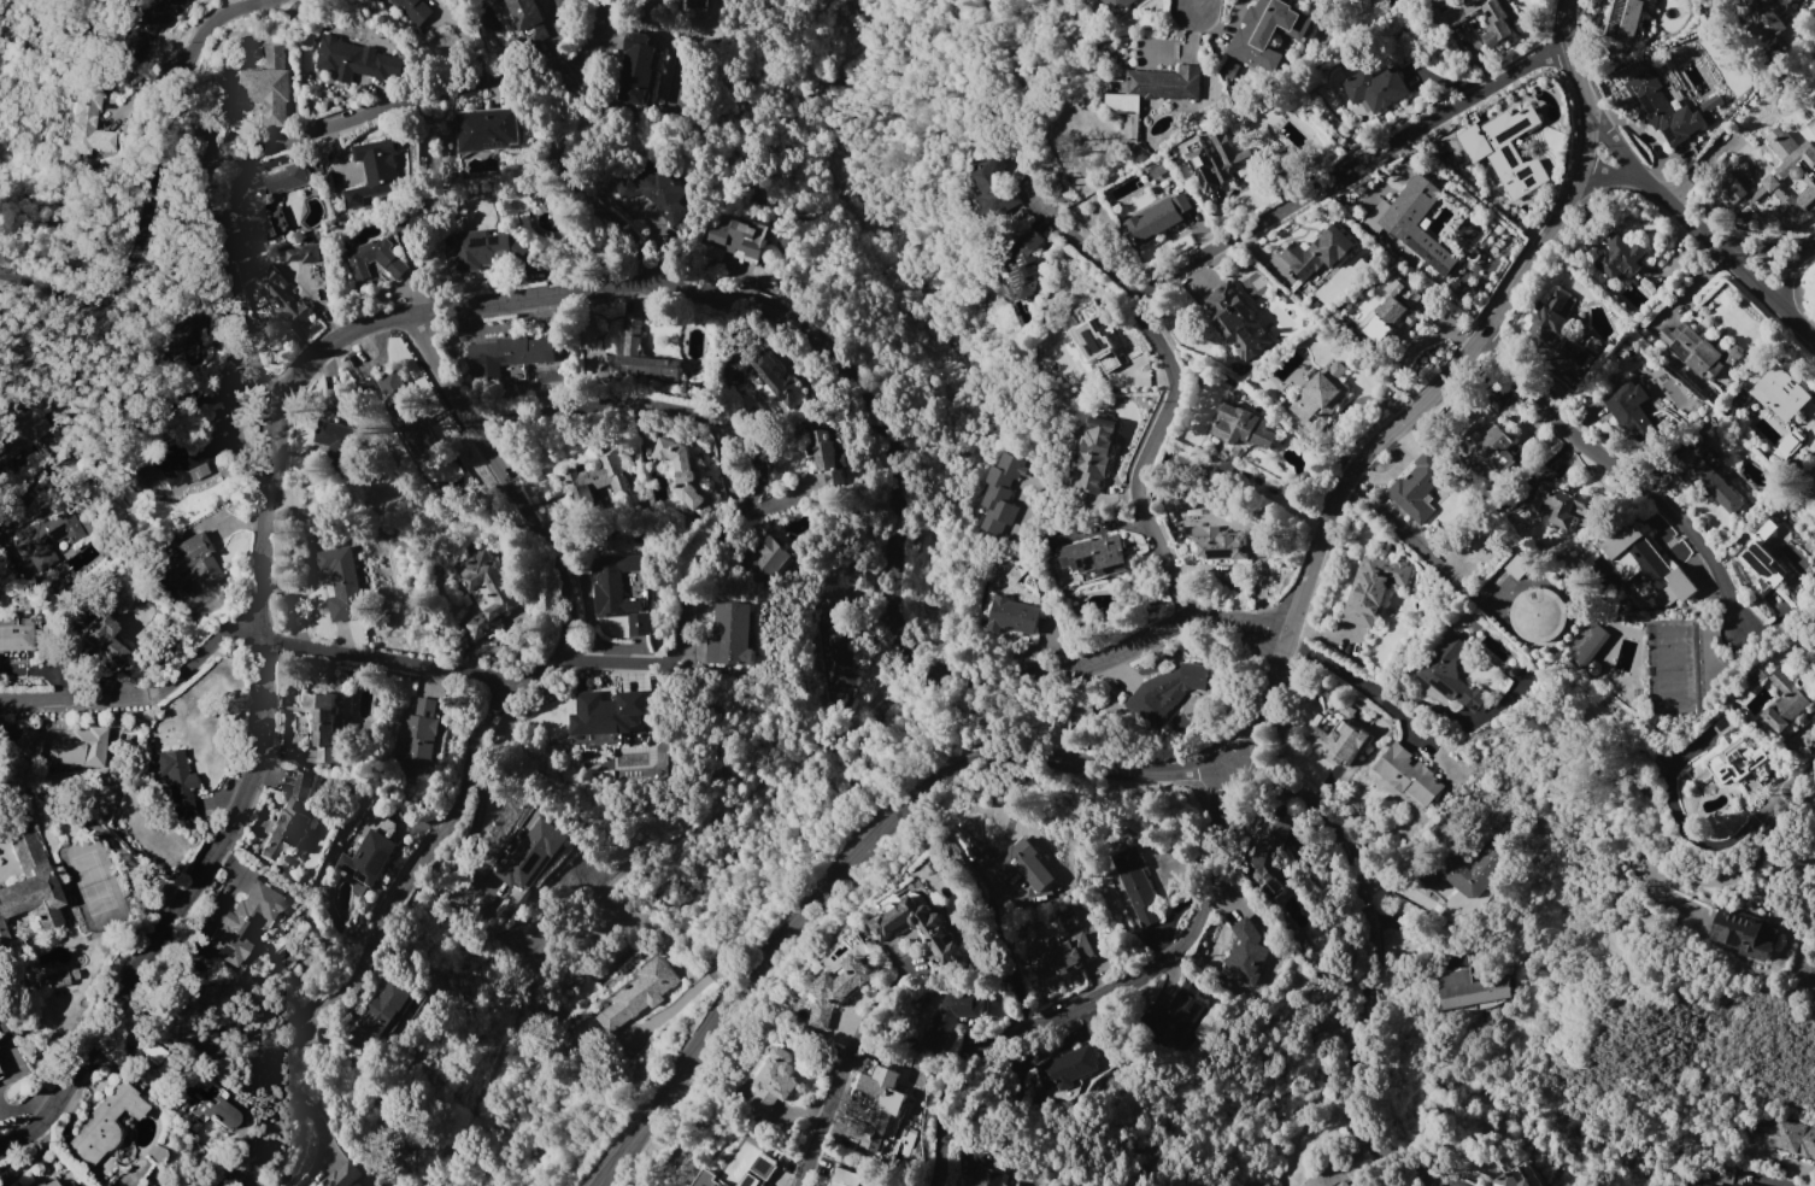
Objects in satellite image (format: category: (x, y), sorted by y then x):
building: (1115, 5)
road: (1185, 5)
building: (689, 6)
building: (410, 11)
building: (522, 12)
building: (1647, 13)
building: (1621, 19)
building: (1496, 23)
building: (146, 24)
building: (1770, 24)
building: (1264, 31)
building: (354, 60)
building: (634, 70)
building: (1382, 84)
building: (265, 87)
building: (1153, 88)
building: (674, 100)
road: (380, 106)
building: (1661, 108)
building: (1705, 108)
building: (84, 125)
building: (484, 129)
building: (1504, 151)
building: (1212, 159)
road: (558, 160)
building: (1796, 166)
building: (375, 169)
road: (1608, 172)
road: (192, 174)
building: (989, 189)
building: (653, 193)
building: (245, 202)
building: (1409, 218)
building: (1153, 222)
road: (1697, 235)
building: (733, 239)
road: (1763, 243)
road: (123, 248)
building: (487, 249)
road: (1086, 252)
building: (302, 253)
building: (1314, 256)
road: (1200, 258)
building: (1617, 258)
building: (374, 259)
building: (1023, 264)
road: (1792, 271)
building: (282, 295)
park: (1807, 295)
building: (1380, 311)
building: (1546, 317)
building: (1238, 322)
building: (180, 334)
building: (630, 339)
building: (1085, 342)
building: (1572, 353)
building: (507, 354)
building: (1697, 358)
building: (765, 369)
building: (1320, 393)
building: (1779, 393)
road: (188, 395)
building: (1628, 409)
building: (401, 413)
road: (858, 413)
building: (1243, 428)
building: (20, 430)
building: (334, 439)
building: (1492, 448)
building: (1087, 452)
building: (1106, 453)
building: (188, 456)
building: (826, 457)
building: (682, 472)
road: (1626, 476)
building: (597, 478)
road: (503, 481)
building: (1710, 486)
building: (1415, 488)
building: (999, 494)
building: (1556, 506)
road: (1404, 538)
building: (46, 539)
building: (1217, 544)
building: (1093, 556)
building: (192, 559)
building: (765, 559)
building: (1646, 565)
building: (1761, 569)
building: (612, 585)
building: (341, 586)
building: (1371, 588)
building: (484, 593)
road: (1045, 593)
road: (683, 604)
building: (1535, 615)
building: (1011, 616)
building: (636, 626)
building: (17, 632)
building: (727, 635)
building: (104, 638)
building: (1587, 644)
building: (834, 653)
road: (1328, 663)
building: (1450, 675)
building: (1754, 676)
building: (1164, 691)
road: (140, 693)
building: (1785, 701)
building: (607, 714)
building: (322, 724)
building: (1338, 736)
building: (416, 740)
road: (1234, 744)
building: (66, 745)
building: (1735, 761)
building: (1409, 776)
building: (177, 780)
road: (1788, 783)
road: (235, 812)
building: (289, 818)
road: (1691, 840)
building: (1262, 847)
building: (528, 855)
building: (368, 858)
road: (428, 864)
building: (1020, 864)
building: (1470, 871)
building: (29, 877)
road: (1705, 881)
building: (1135, 885)
building: (1067, 920)
building: (243, 922)
building: (883, 930)
building: (1743, 933)
building: (1244, 955)
building: (1063, 956)
road: (1373, 962)
building: (59, 981)
building: (836, 990)
building: (1468, 990)
building: (635, 996)
road: (1100, 996)
road: (870, 1003)
building: (384, 1009)
building: (1179, 1015)
building: (948, 1017)
building: (154, 1057)
building: (1064, 1068)
building: (773, 1080)
road: (278, 1091)
building: (208, 1100)
building: (875, 1106)
road: (823, 1119)
building: (104, 1125)
building: (1782, 1138)
building: (757, 1173)
building: (343, 1175)
building: (1515, 1176)
building: (844, 1178)
building: (987, 1178)
building: (707, 1179)
building: (49, 1182)
building: (1343, 1184)
building: (1688, 1185)

